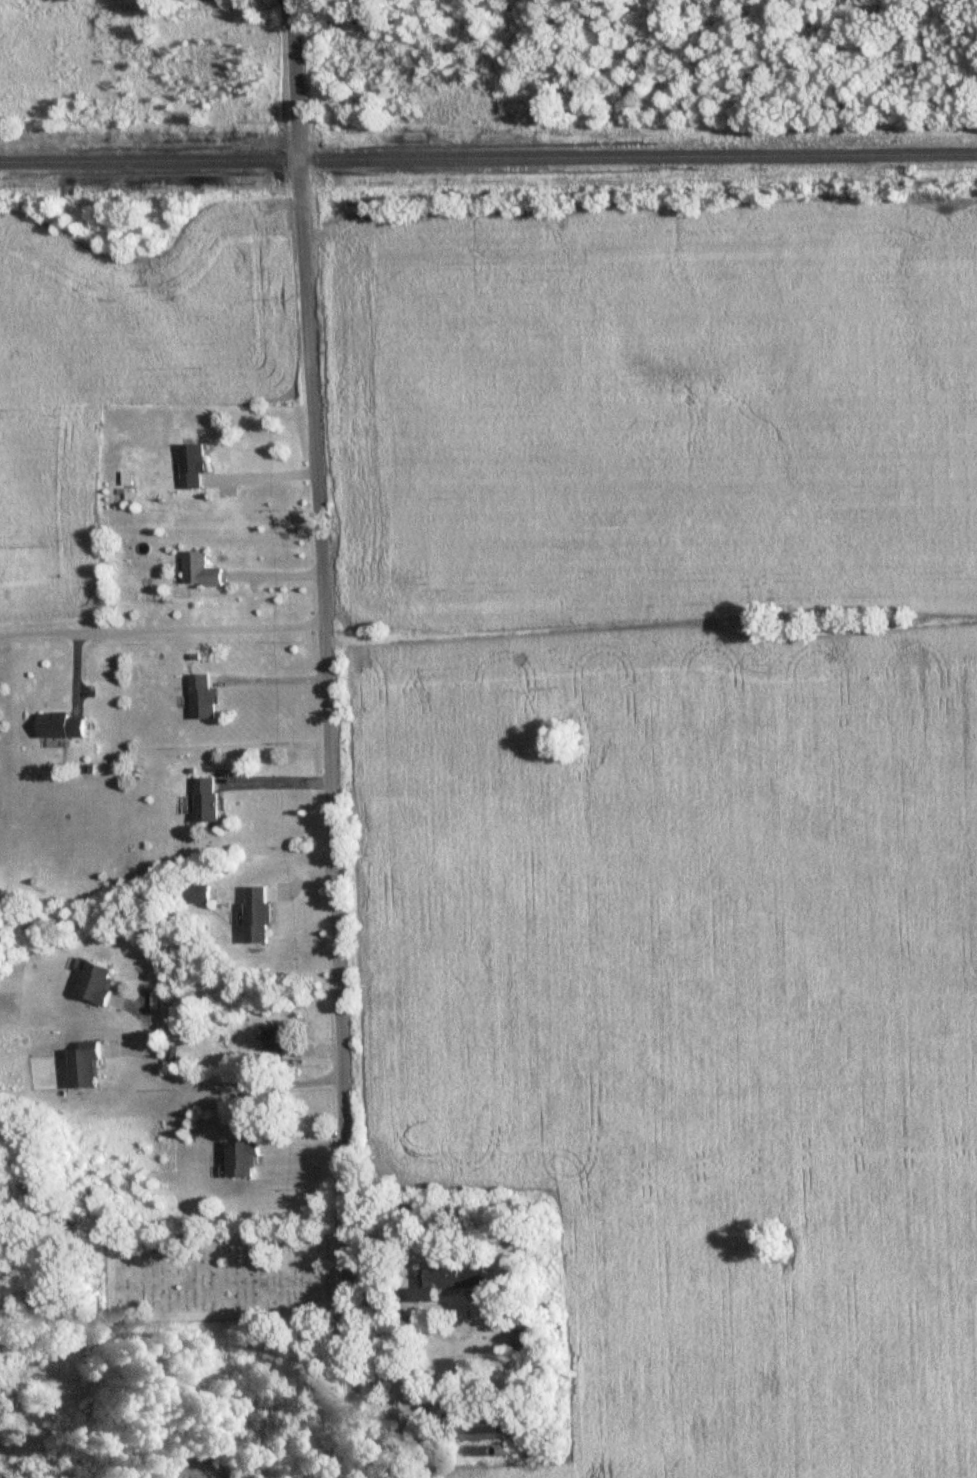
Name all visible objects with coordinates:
railway: (488, 157)
building: (194, 467)
road: (257, 476)
building: (202, 572)
road: (159, 619)
road: (269, 679)
building: (203, 697)
building: (63, 725)
road: (324, 738)
road: (274, 781)
building: (207, 799)
building: (198, 894)
building: (261, 915)
building: (98, 984)
building: (285, 1040)
building: (87, 1065)
road: (214, 1084)
building: (244, 1159)
park: (210, 1278)
building: (456, 1280)
road: (451, 1337)
building: (495, 1427)
road: (43, 1448)

